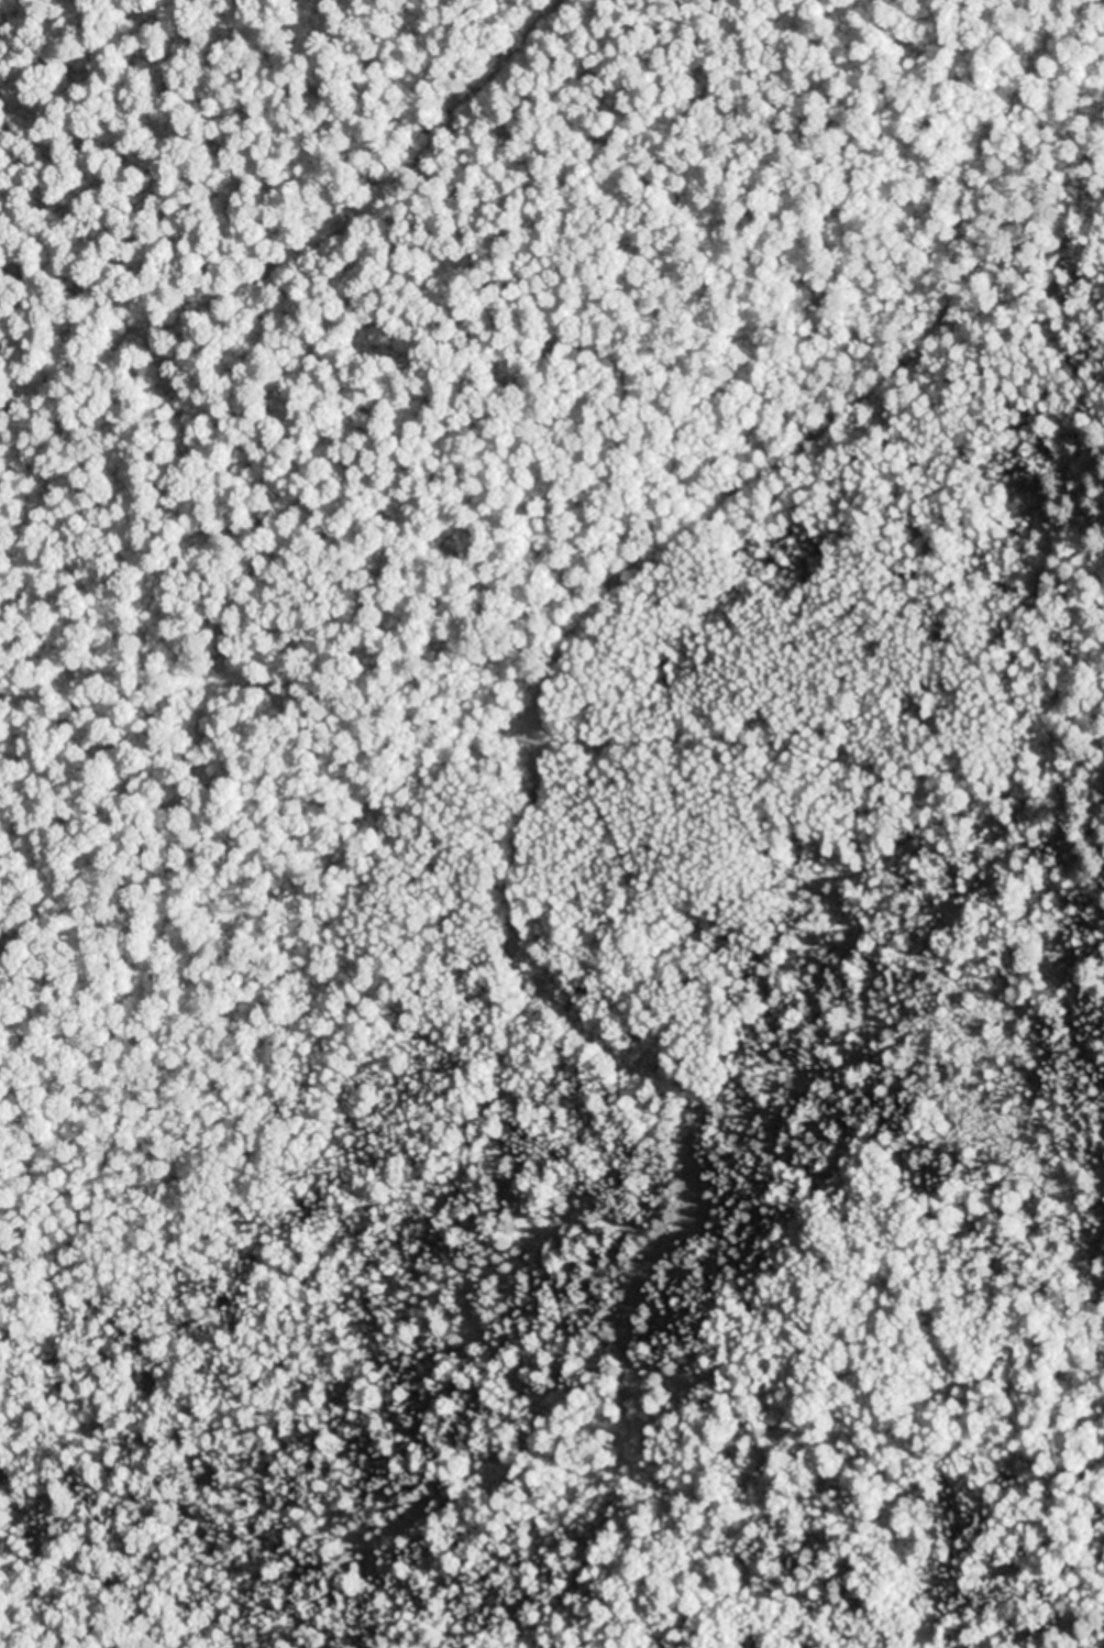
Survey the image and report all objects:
road: (286, 227)

